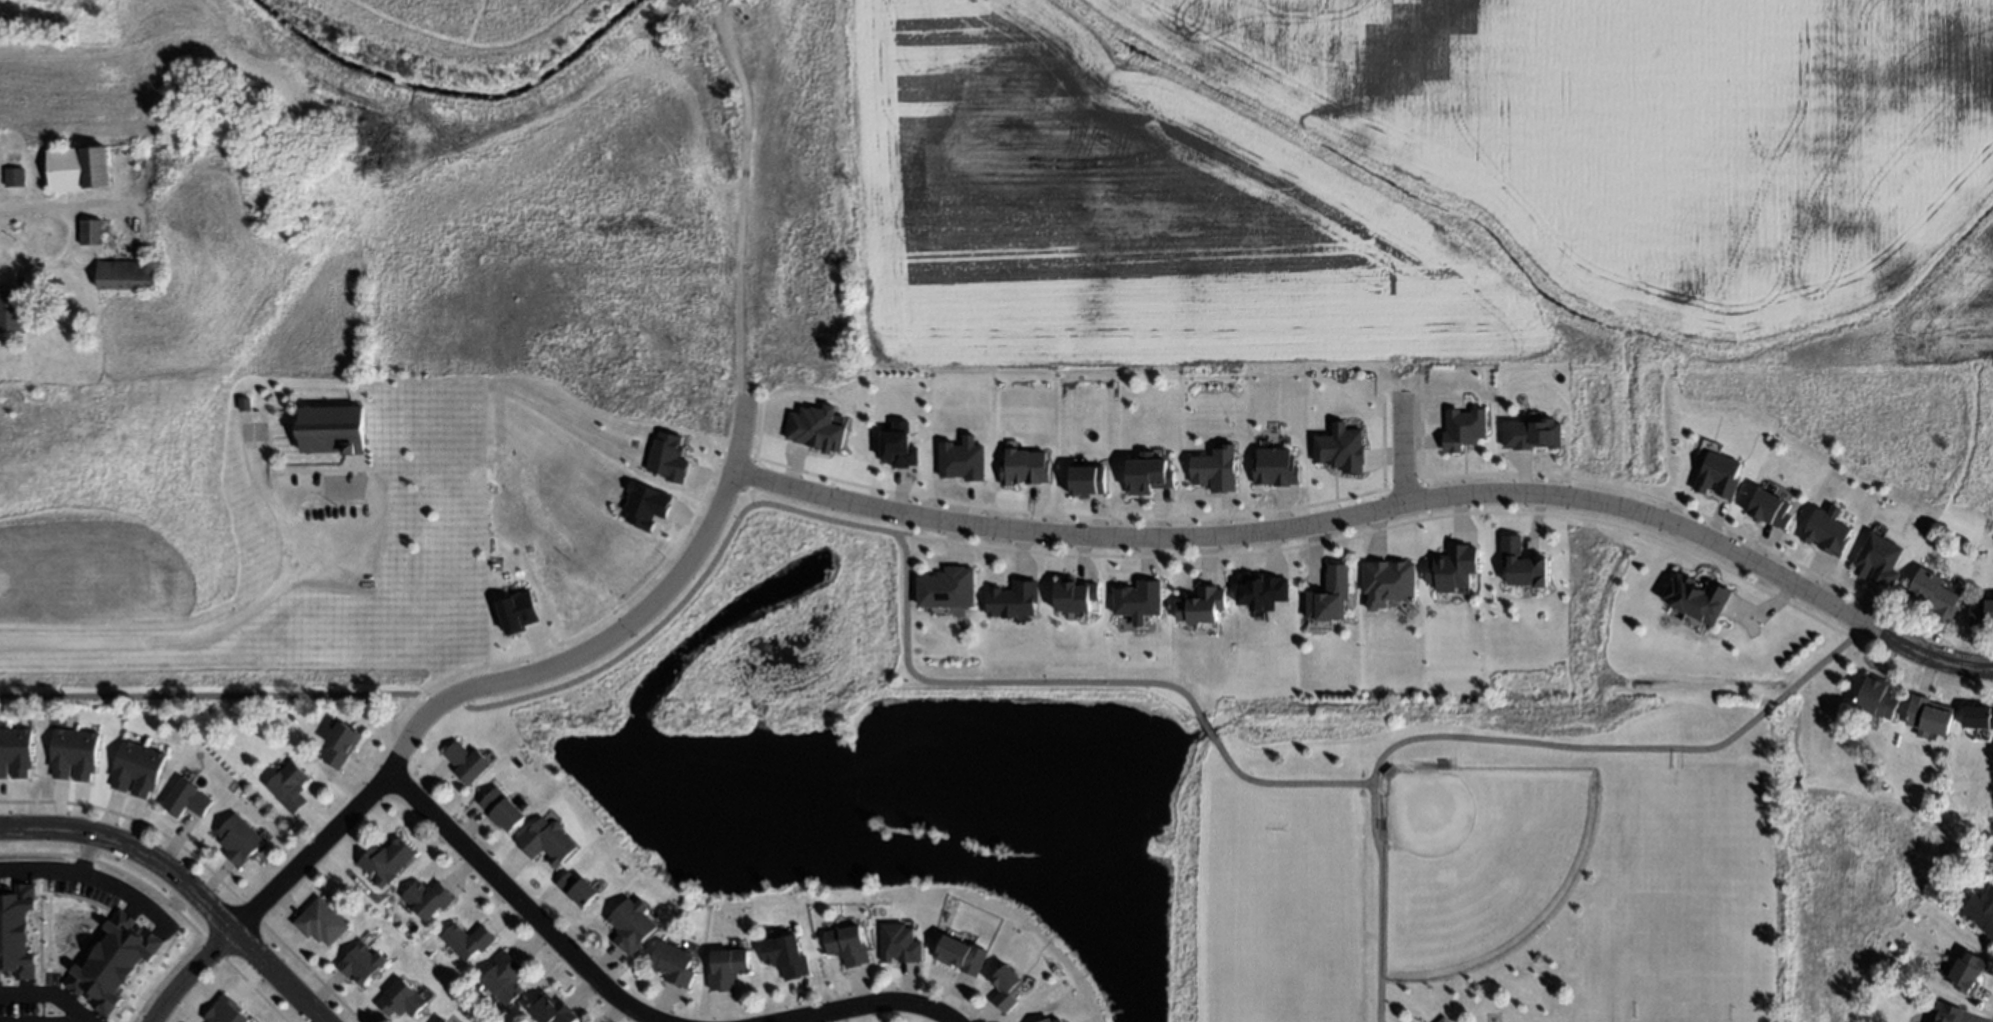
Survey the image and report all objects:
building: (77, 169)
building: (15, 177)
road: (737, 214)
road: (71, 232)
building: (91, 232)
building: (126, 275)
building: (11, 311)
building: (245, 404)
building: (333, 429)
building: (815, 429)
building: (1464, 429)
building: (1532, 435)
building: (899, 447)
building: (1341, 449)
road: (1398, 450)
building: (669, 458)
building: (963, 460)
building: (1025, 468)
building: (1275, 468)
building: (1216, 470)
building: (1148, 475)
building: (1718, 477)
building: (1088, 482)
building: (646, 506)
road: (1379, 508)
building: (1770, 510)
building: (1826, 532)
building: (1879, 562)
building: (1523, 565)
building: (1453, 569)
building: (1389, 583)
building: (947, 589)
building: (1263, 592)
building: (1933, 596)
building: (1074, 597)
building: (1331, 600)
building: (1703, 600)
building: (1014, 601)
building: (1139, 601)
road: (681, 604)
building: (1202, 607)
building: (518, 613)
building: (1981, 613)
road: (169, 643)
road: (518, 677)
building: (1873, 700)
building: (1927, 717)
building: (1978, 721)
road: (1206, 727)
building: (341, 743)
road: (1539, 744)
building: (16, 751)
building: (74, 754)
building: (466, 760)
building: (138, 768)
building: (1391, 770)
building: (290, 785)
building: (187, 797)
building: (503, 812)
building: (1985, 834)
building: (240, 838)
building: (545, 838)
park: (1378, 854)
road: (81, 855)
building: (387, 859)
road: (88, 878)
park: (1507, 879)
road: (186, 883)
building: (577, 887)
building: (426, 897)
road: (1380, 903)
road: (526, 904)
building: (1981, 910)
building: (321, 921)
building: (631, 924)
building: (17, 932)
building: (467, 939)
building: (899, 943)
building: (847, 944)
building: (963, 957)
building: (788, 959)
building: (361, 961)
building: (672, 961)
building: (115, 964)
building: (729, 970)
building: (1967, 973)
road: (198, 975)
building: (504, 976)
building: (1880, 978)
building: (1008, 992)
road: (44, 995)
building: (401, 996)
road: (865, 1004)
building: (551, 1008)
building: (233, 1011)
building: (1947, 1013)
building: (217, 1016)
building: (444, 1020)
building: (1443, 1020)
building: (1446, 1020)
road: (75, 1021)
road: (79, 1021)
building: (433, 1021)
building: (1049, 1021)

